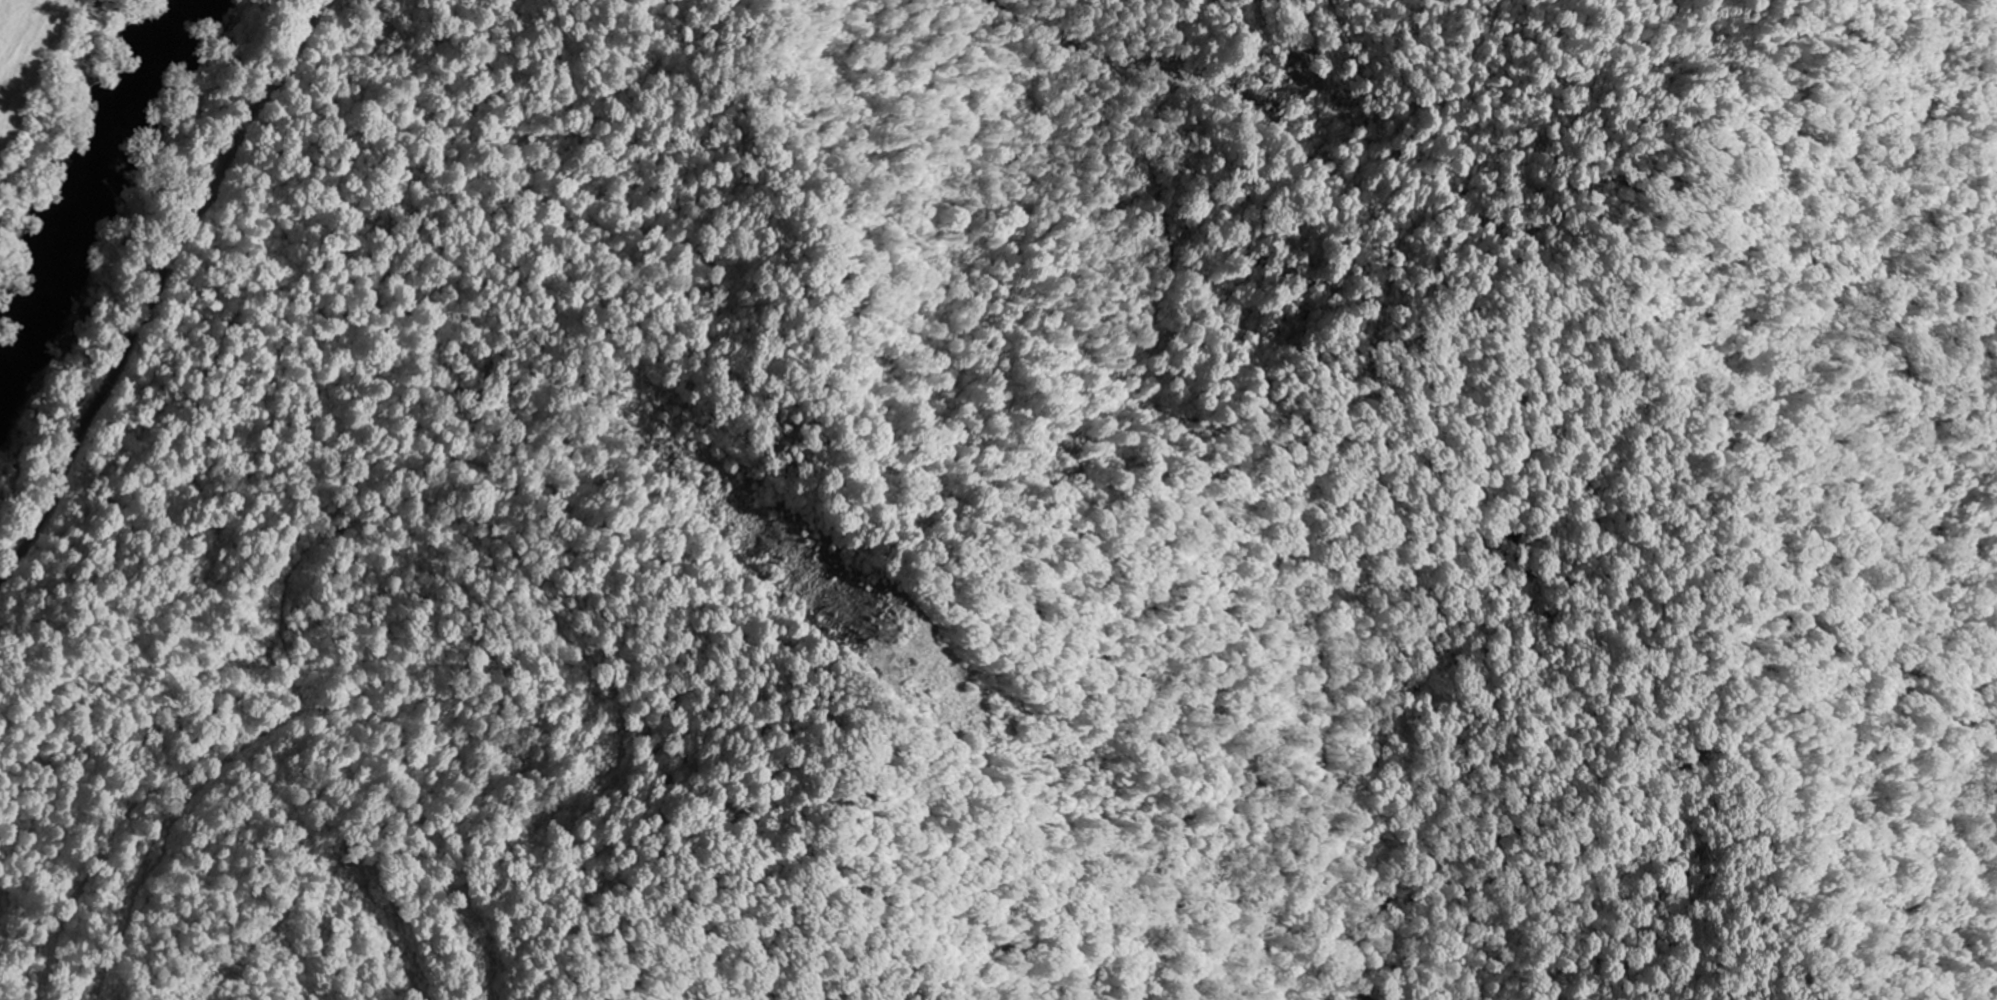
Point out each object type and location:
river: (82, 183)
road: (156, 289)
power tower: (880, 643)

